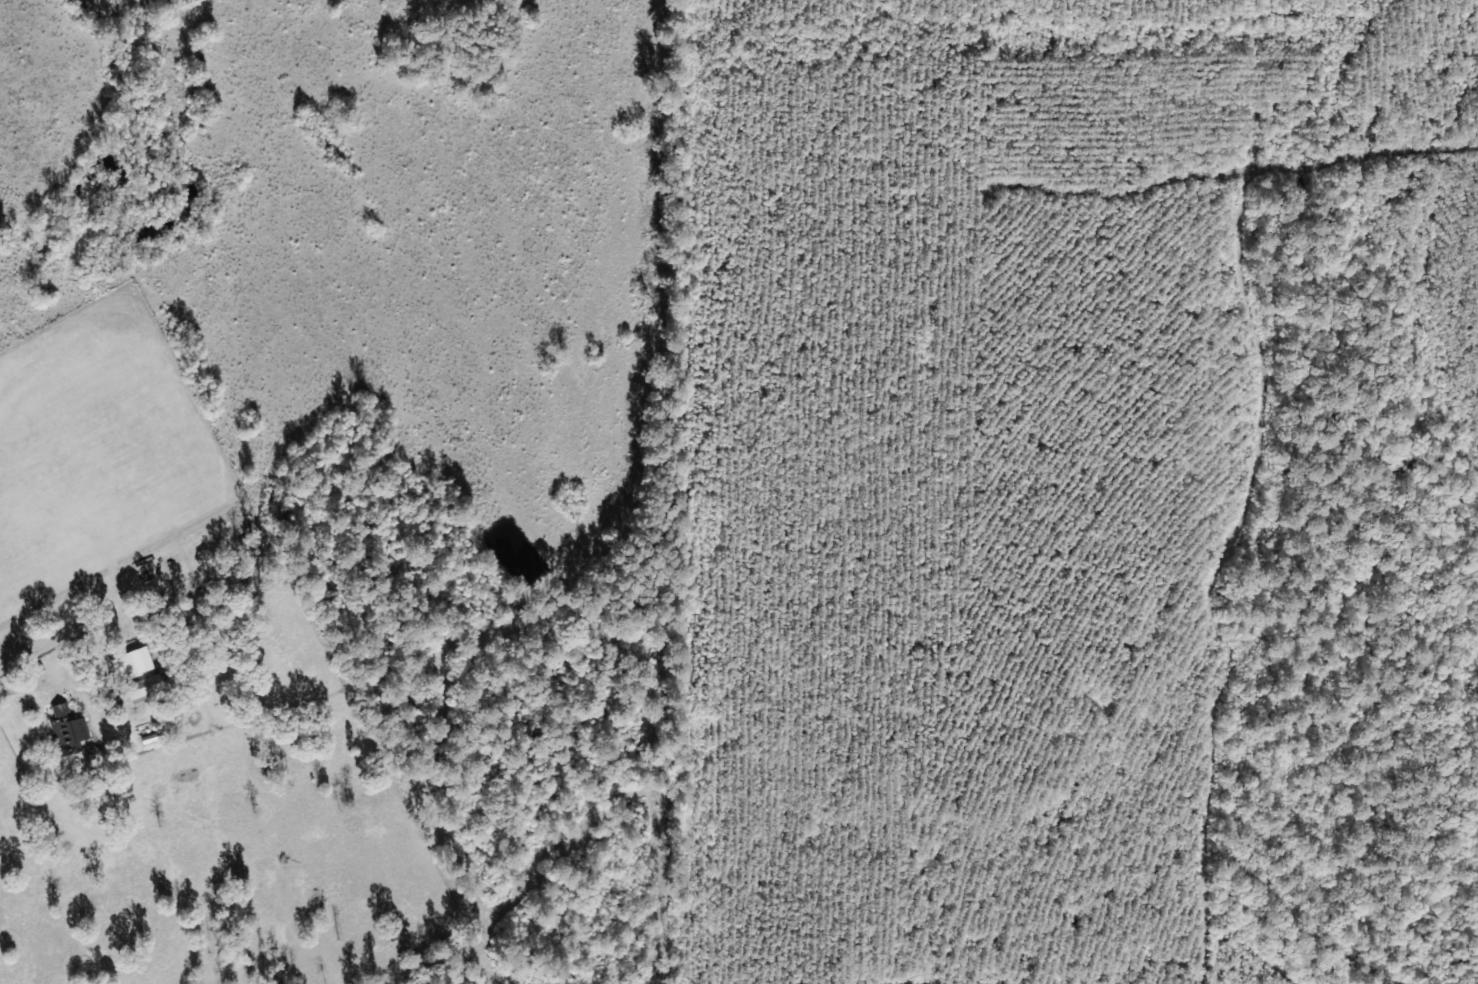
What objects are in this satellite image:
building: (140, 659)
building: (143, 687)
building: (67, 726)

